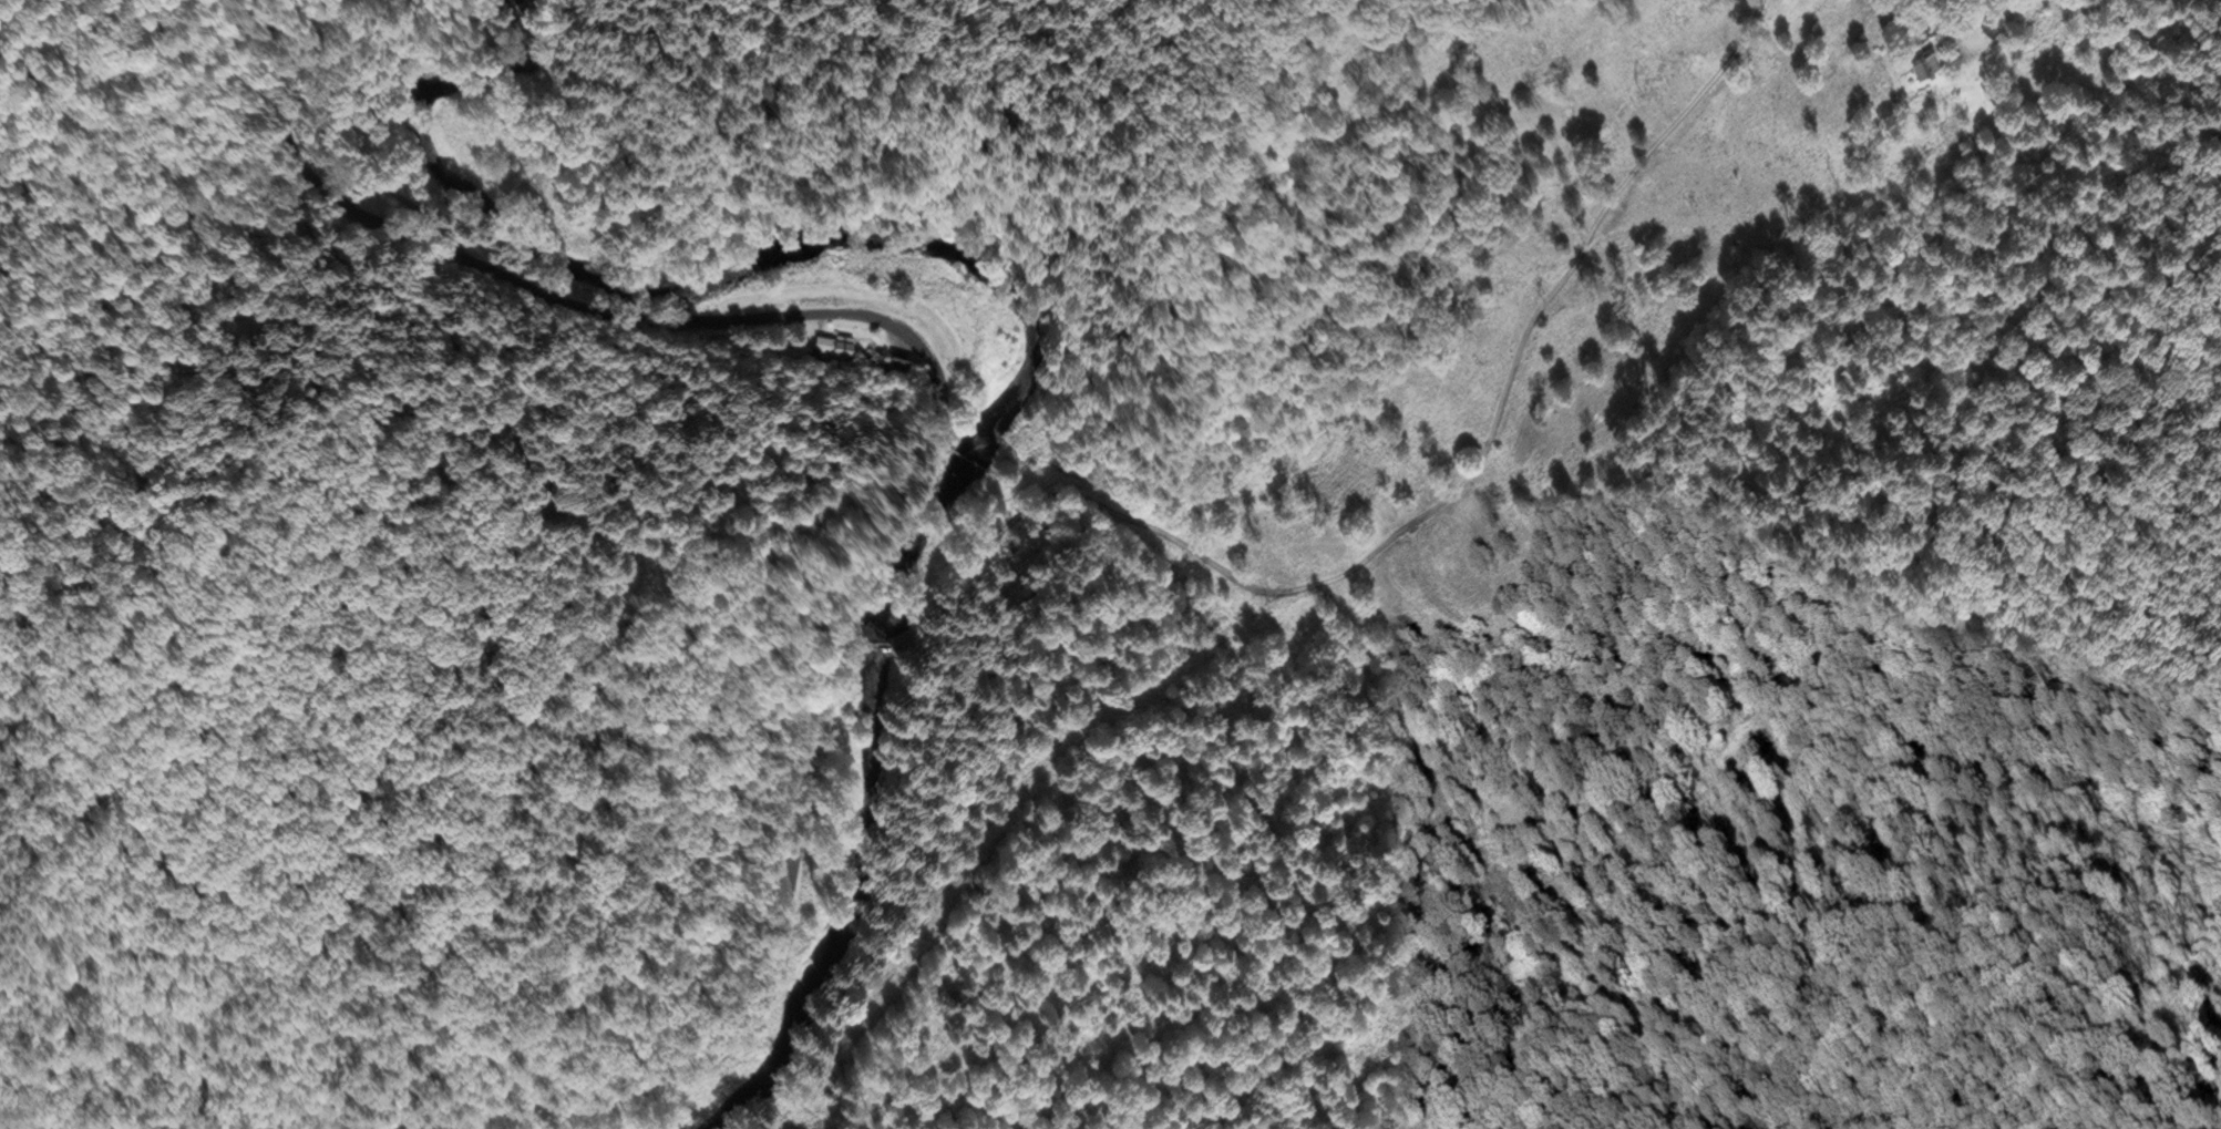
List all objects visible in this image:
road: (1947, 17)
building: (1921, 21)
building: (1991, 29)
building: (1923, 63)
road: (845, 312)
building: (836, 348)
building: (896, 365)
road: (1402, 533)
road: (845, 643)
road: (877, 644)
building: (872, 647)
road: (546, 1097)

